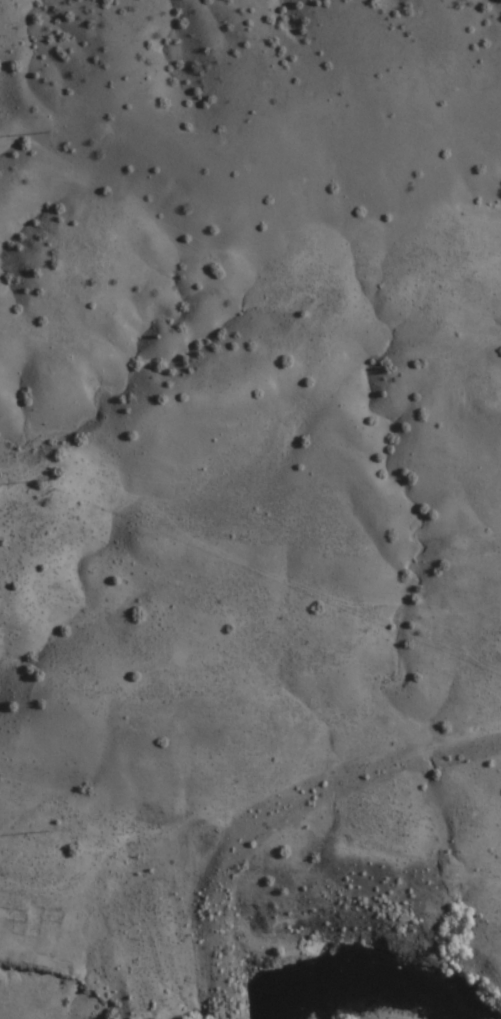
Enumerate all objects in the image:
river: (353, 981)

